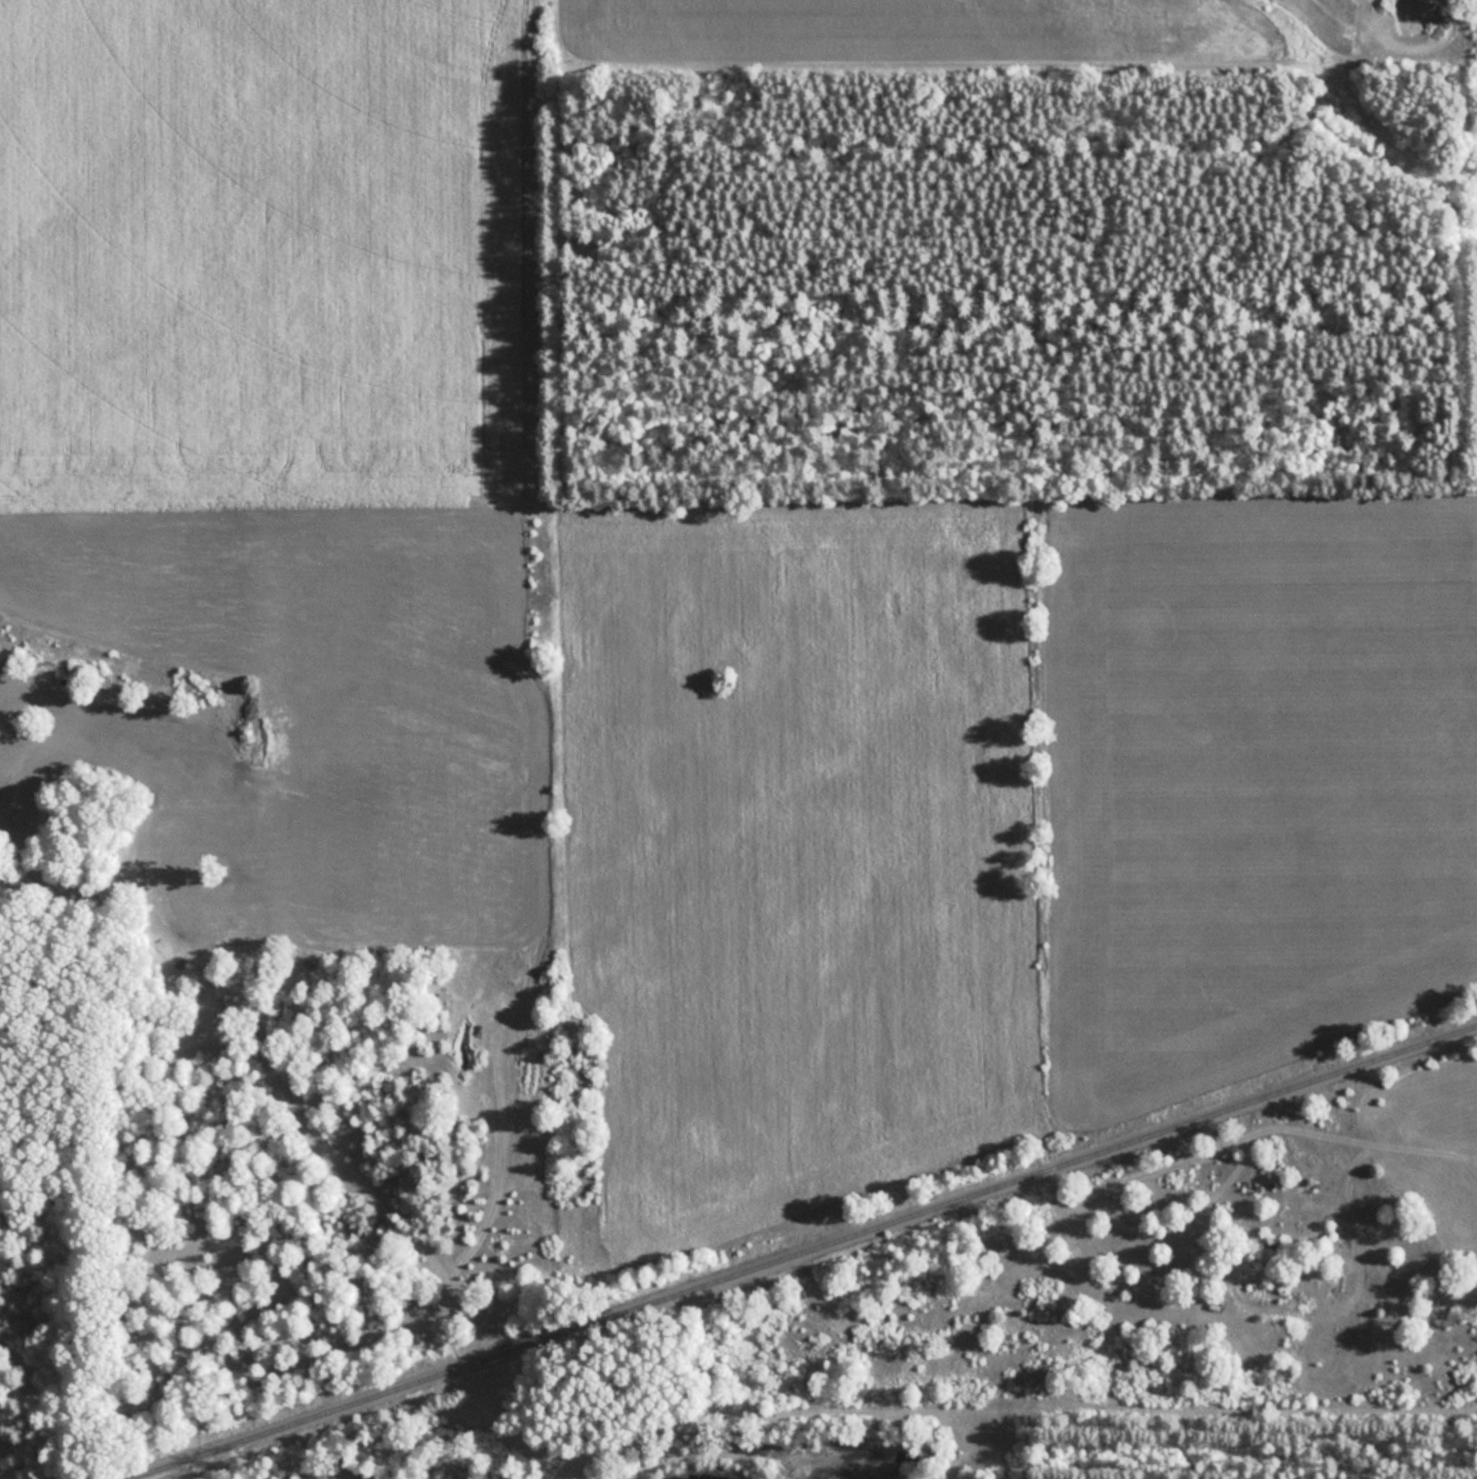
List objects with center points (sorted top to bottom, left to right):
railway: (815, 1255)
road: (1245, 1414)

